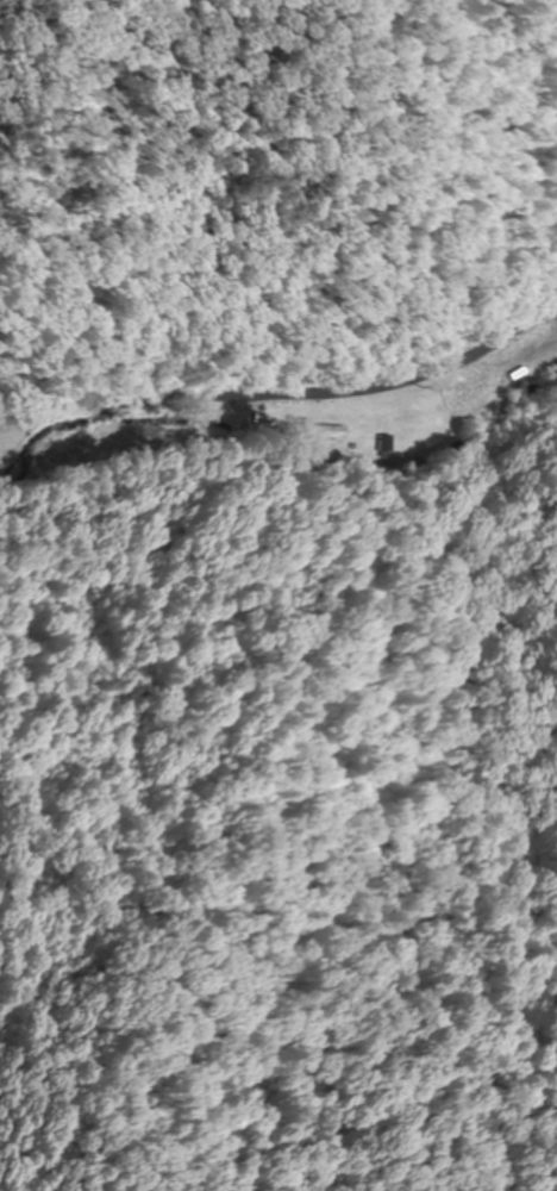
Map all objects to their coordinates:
building: (530, 361)
road: (289, 393)
building: (317, 432)

